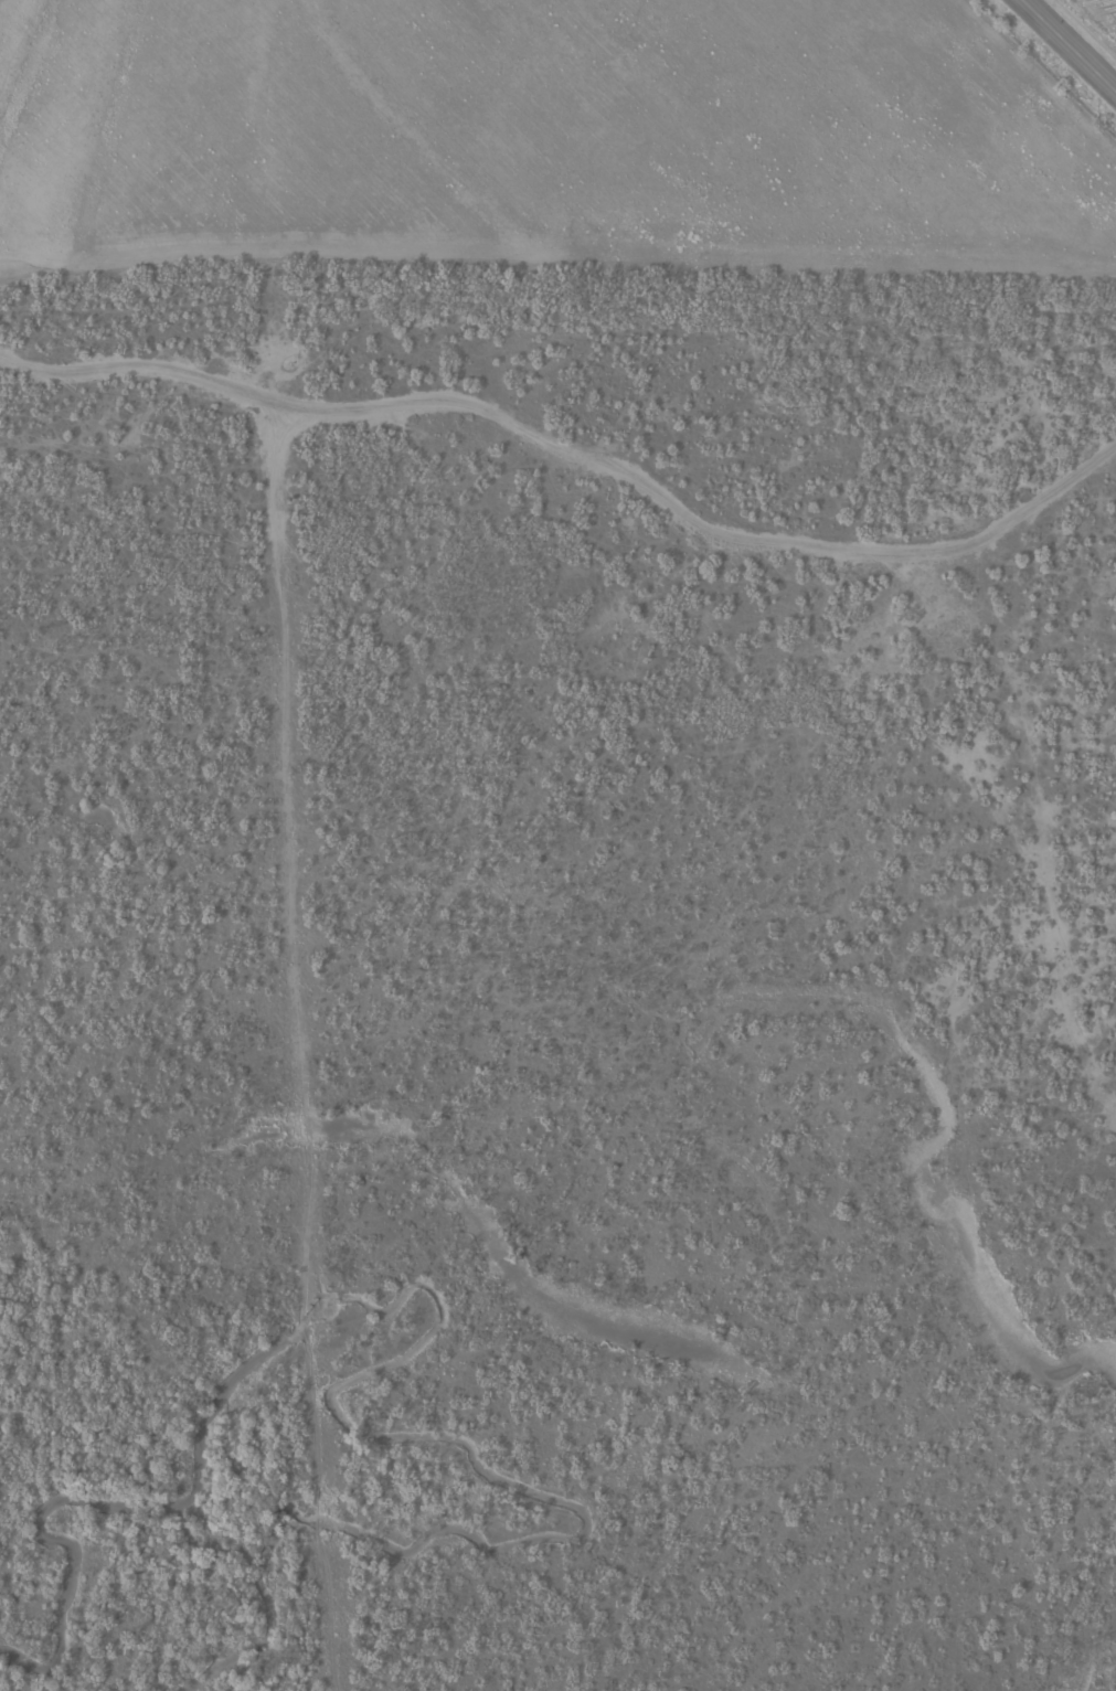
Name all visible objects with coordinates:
road: (1071, 43)
road: (565, 455)

